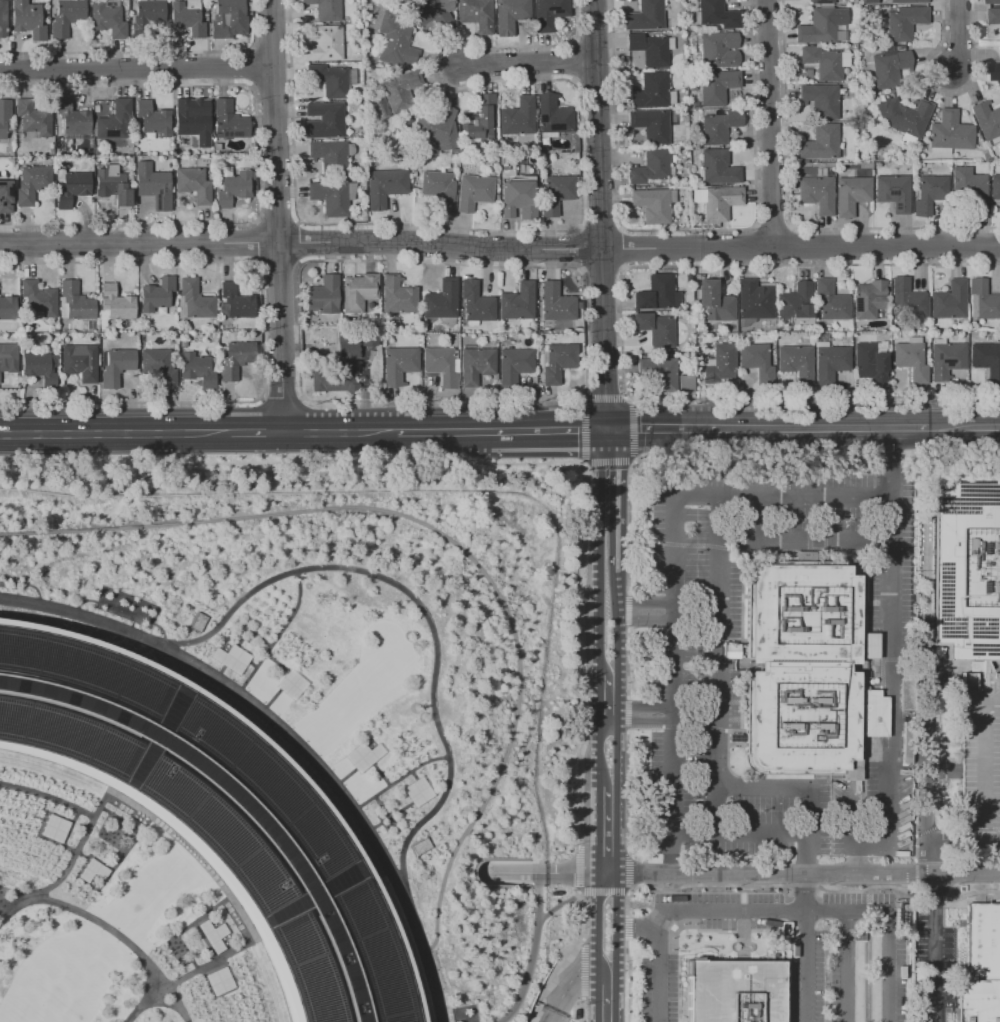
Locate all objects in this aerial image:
building: (820, 1)
building: (908, 1)
building: (993, 2)
building: (326, 9)
building: (149, 11)
building: (430, 12)
building: (549, 13)
building: (476, 14)
building: (717, 14)
building: (511, 15)
building: (994, 15)
building: (644, 16)
building: (67, 17)
building: (187, 17)
building: (3, 18)
building: (107, 18)
building: (28, 19)
building: (228, 19)
building: (904, 22)
building: (823, 27)
road: (960, 33)
building: (395, 41)
building: (325, 44)
building: (649, 49)
building: (718, 49)
road: (526, 62)
building: (823, 62)
building: (889, 66)
building: (994, 71)
road: (137, 73)
building: (329, 80)
building: (716, 86)
building: (400, 90)
building: (651, 90)
building: (820, 99)
building: (553, 114)
building: (903, 115)
building: (478, 116)
building: (4, 117)
building: (72, 117)
building: (517, 117)
building: (34, 118)
building: (153, 118)
building: (189, 118)
building: (114, 120)
building: (228, 120)
building: (324, 120)
building: (987, 121)
road: (770, 123)
building: (651, 125)
building: (719, 126)
building: (437, 130)
building: (950, 131)
building: (820, 142)
building: (331, 156)
building: (650, 168)
building: (718, 168)
building: (32, 183)
building: (152, 184)
building: (193, 184)
building: (112, 185)
building: (385, 186)
building: (995, 186)
building: (71, 188)
building: (232, 188)
building: (971, 188)
building: (439, 189)
building: (893, 191)
building: (474, 192)
building: (557, 193)
building: (816, 193)
building: (929, 193)
building: (851, 194)
building: (330, 197)
building: (4, 198)
building: (519, 199)
building: (718, 201)
building: (652, 205)
road: (600, 214)
road: (277, 215)
road: (499, 250)
building: (359, 291)
building: (656, 293)
building: (157, 294)
building: (324, 294)
building: (398, 295)
building: (907, 298)
building: (753, 299)
building: (869, 299)
building: (984, 299)
building: (193, 300)
building: (442, 300)
building: (949, 300)
building: (236, 301)
building: (518, 301)
building: (714, 301)
building: (831, 301)
building: (74, 302)
building: (117, 302)
building: (476, 302)
building: (556, 302)
building: (43, 303)
building: (795, 304)
building: (579, 305)
building: (7, 307)
building: (880, 315)
building: (917, 326)
building: (659, 330)
building: (373, 338)
building: (8, 357)
building: (238, 360)
building: (987, 360)
building: (832, 361)
building: (913, 361)
building: (948, 361)
building: (872, 362)
building: (82, 363)
building: (561, 363)
building: (759, 363)
building: (798, 364)
building: (721, 365)
building: (402, 366)
building: (445, 366)
building: (480, 366)
building: (119, 367)
building: (161, 367)
building: (517, 367)
building: (341, 369)
building: (42, 370)
building: (201, 370)
building: (662, 374)
building: (689, 385)
road: (963, 427)
road: (871, 428)
road: (711, 429)
road: (548, 430)
traffic signals: (607, 430)
road: (257, 431)
road: (340, 431)
road: (443, 431)
road: (115, 433)
road: (886, 481)
road: (886, 487)
road: (610, 499)
road: (444, 531)
road: (806, 540)
road: (600, 552)
building: (966, 567)
road: (888, 583)
road: (673, 599)
road: (412, 600)
road: (642, 603)
road: (643, 621)
building: (198, 622)
road: (278, 624)
road: (245, 625)
road: (236, 633)
road: (615, 636)
road: (247, 637)
building: (230, 658)
road: (273, 659)
road: (200, 667)
building: (811, 671)
building: (290, 684)
road: (273, 697)
road: (599, 698)
road: (643, 706)
road: (615, 713)
road: (672, 713)
road: (643, 720)
road: (607, 721)
road: (718, 728)
road: (299, 729)
building: (357, 752)
road: (598, 753)
road: (615, 753)
building: (980, 767)
road: (401, 774)
road: (112, 784)
road: (928, 785)
building: (411, 788)
road: (672, 797)
road: (59, 801)
building: (223, 806)
road: (850, 816)
building: (49, 824)
road: (597, 830)
road: (614, 830)
road: (738, 838)
road: (851, 859)
building: (88, 867)
road: (56, 868)
road: (392, 868)
road: (806, 873)
road: (532, 874)
road: (592, 875)
road: (605, 875)
building: (554, 893)
road: (244, 911)
road: (826, 912)
road: (614, 927)
building: (208, 930)
road: (634, 930)
road: (264, 937)
road: (123, 941)
road: (937, 946)
road: (806, 947)
road: (597, 948)
road: (532, 952)
building: (979, 965)
road: (846, 967)
road: (655, 968)
building: (215, 976)
road: (575, 987)
building: (733, 991)
road: (613, 1000)

